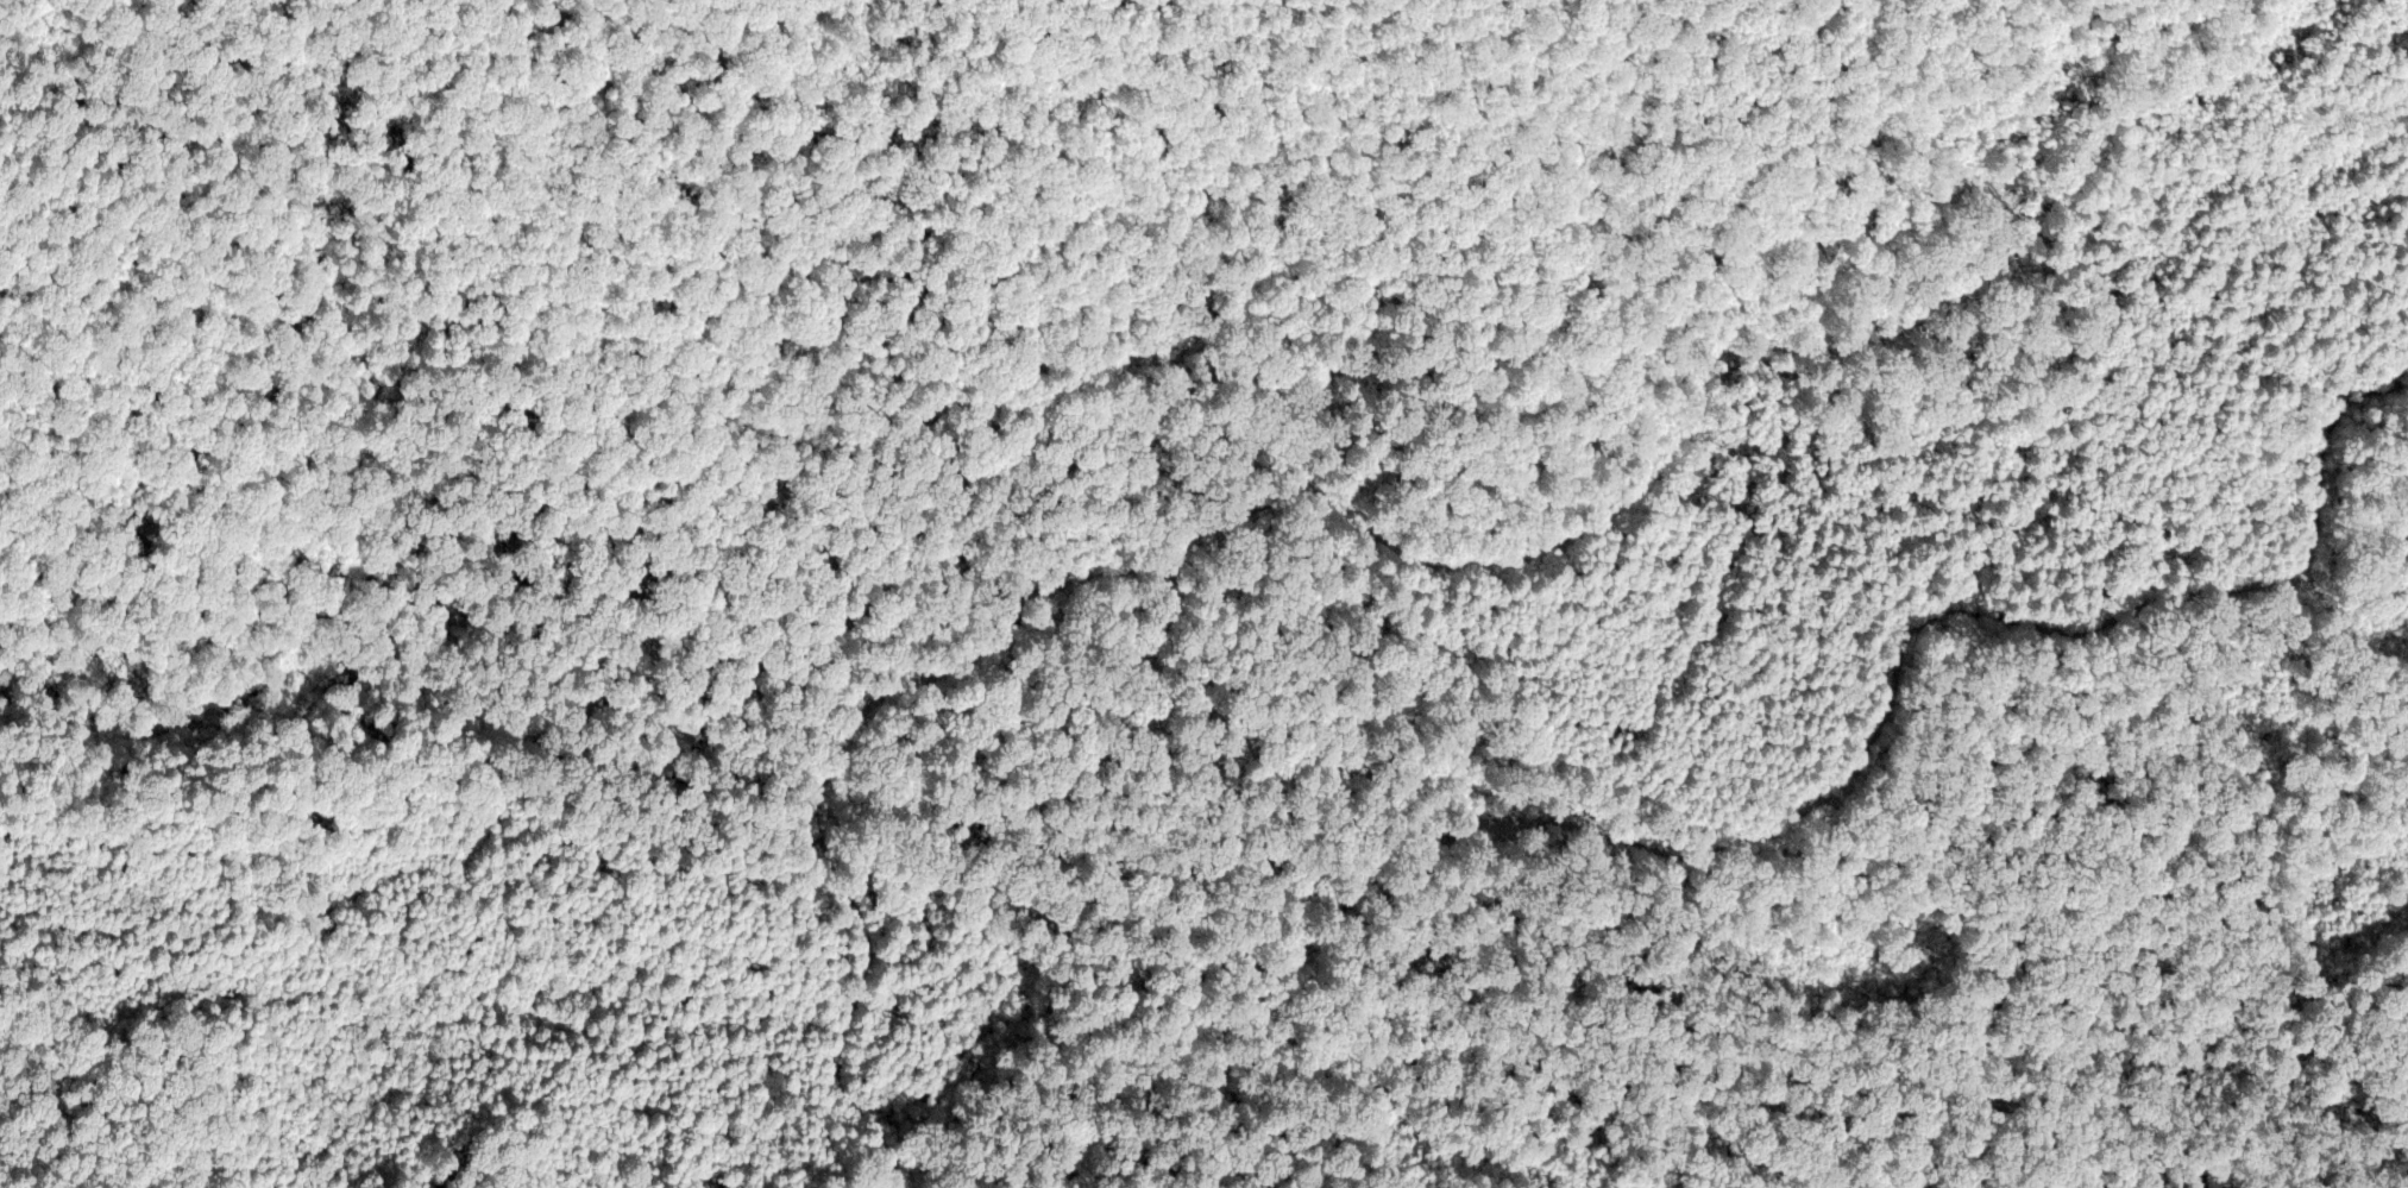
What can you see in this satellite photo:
road: (2325, 454)
road: (1402, 549)
road: (1723, 832)
road: (1251, 1139)
road: (1483, 1155)

